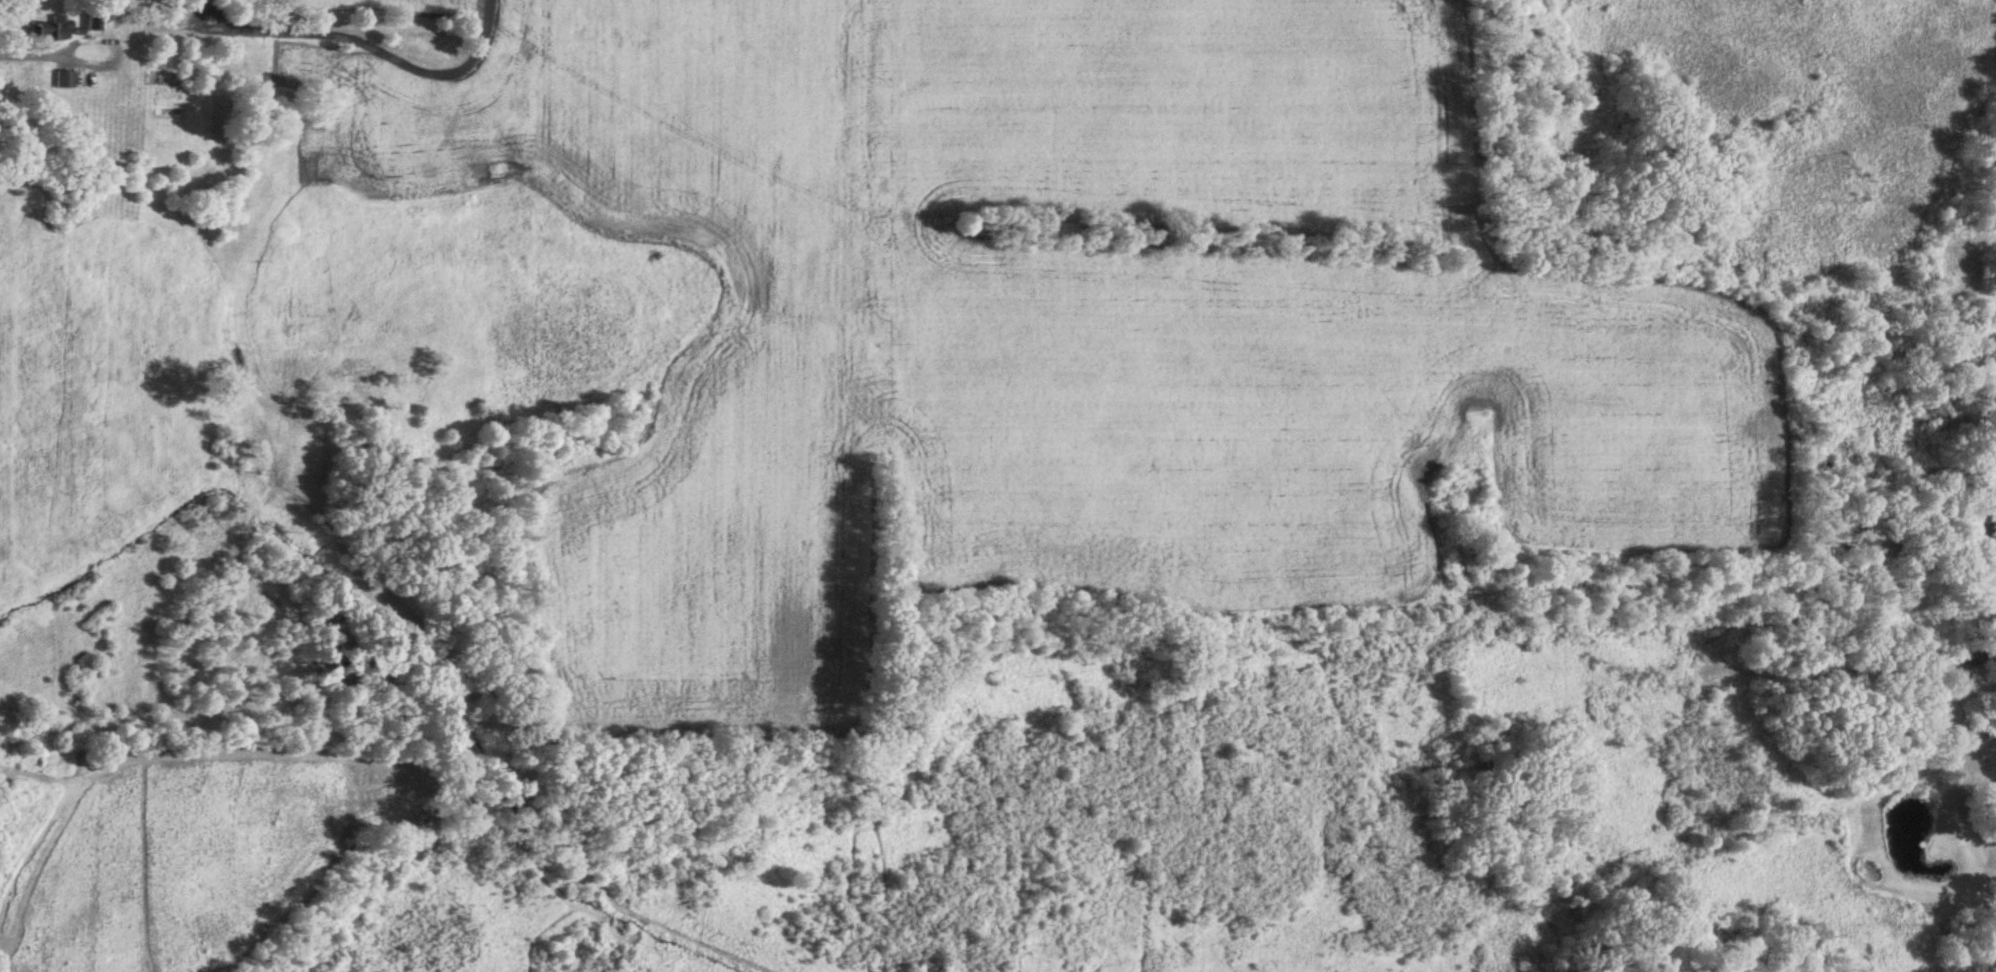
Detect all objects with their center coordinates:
building: (55, 30)
road: (117, 50)
road: (23, 55)
building: (67, 81)
building: (115, 119)

